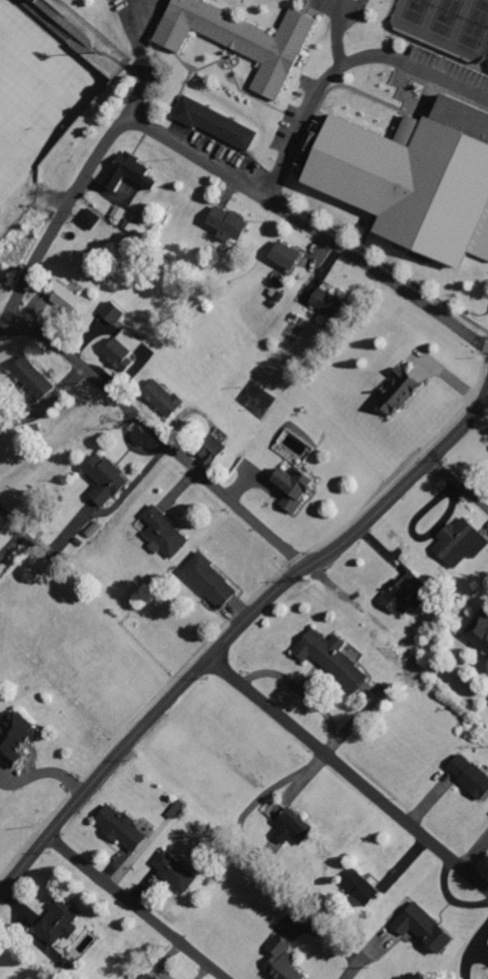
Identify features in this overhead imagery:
road: (338, 3)
road: (336, 31)
road: (140, 38)
building: (245, 39)
road: (340, 65)
building: (218, 123)
building: (133, 172)
building: (415, 176)
road: (67, 201)
building: (120, 212)
building: (90, 218)
building: (232, 223)
road: (307, 228)
building: (290, 255)
building: (72, 299)
building: (329, 302)
building: (117, 312)
building: (128, 352)
building: (36, 377)
building: (402, 390)
building: (171, 398)
road: (460, 430)
road: (158, 436)
building: (218, 452)
building: (111, 479)
road: (458, 484)
building: (302, 489)
building: (167, 533)
road: (26, 536)
building: (461, 542)
building: (214, 581)
building: (407, 594)
building: (481, 632)
building: (336, 659)
building: (486, 664)
road: (201, 665)
building: (17, 738)
road: (348, 775)
building: (473, 775)
building: (298, 828)
building: (127, 829)
building: (179, 871)
building: (367, 888)
road: (138, 906)
building: (62, 922)
building: (429, 928)
building: (286, 960)
road: (352, 969)
building: (152, 976)

